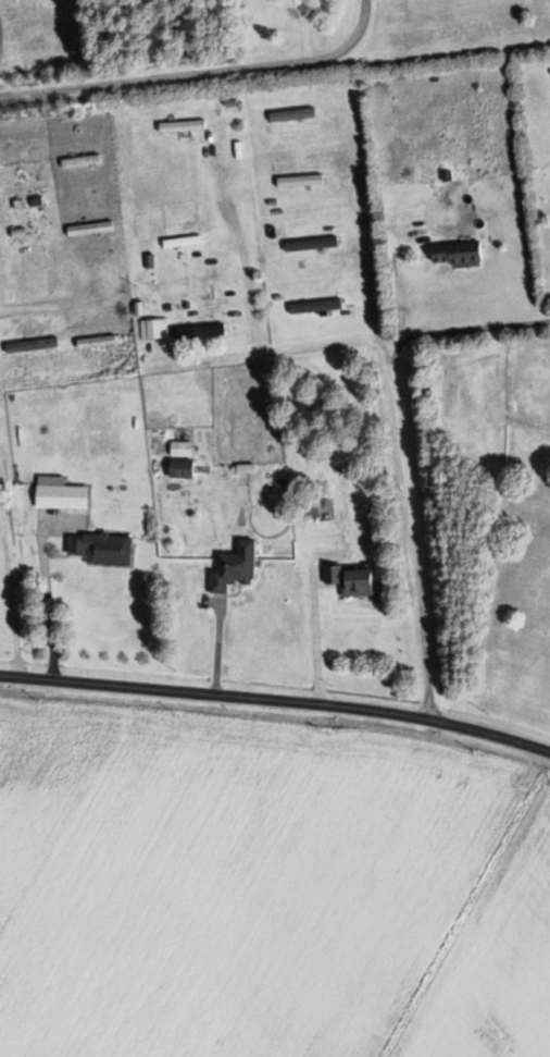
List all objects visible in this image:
road: (213, 72)
building: (291, 113)
building: (183, 124)
building: (82, 159)
building: (299, 180)
building: (91, 226)
building: (183, 241)
building: (310, 243)
building: (459, 253)
road: (232, 285)
building: (197, 328)
road: (447, 331)
building: (97, 341)
building: (182, 447)
building: (183, 468)
building: (60, 492)
road: (359, 526)
building: (101, 548)
building: (235, 566)
building: (355, 579)
road: (276, 700)

